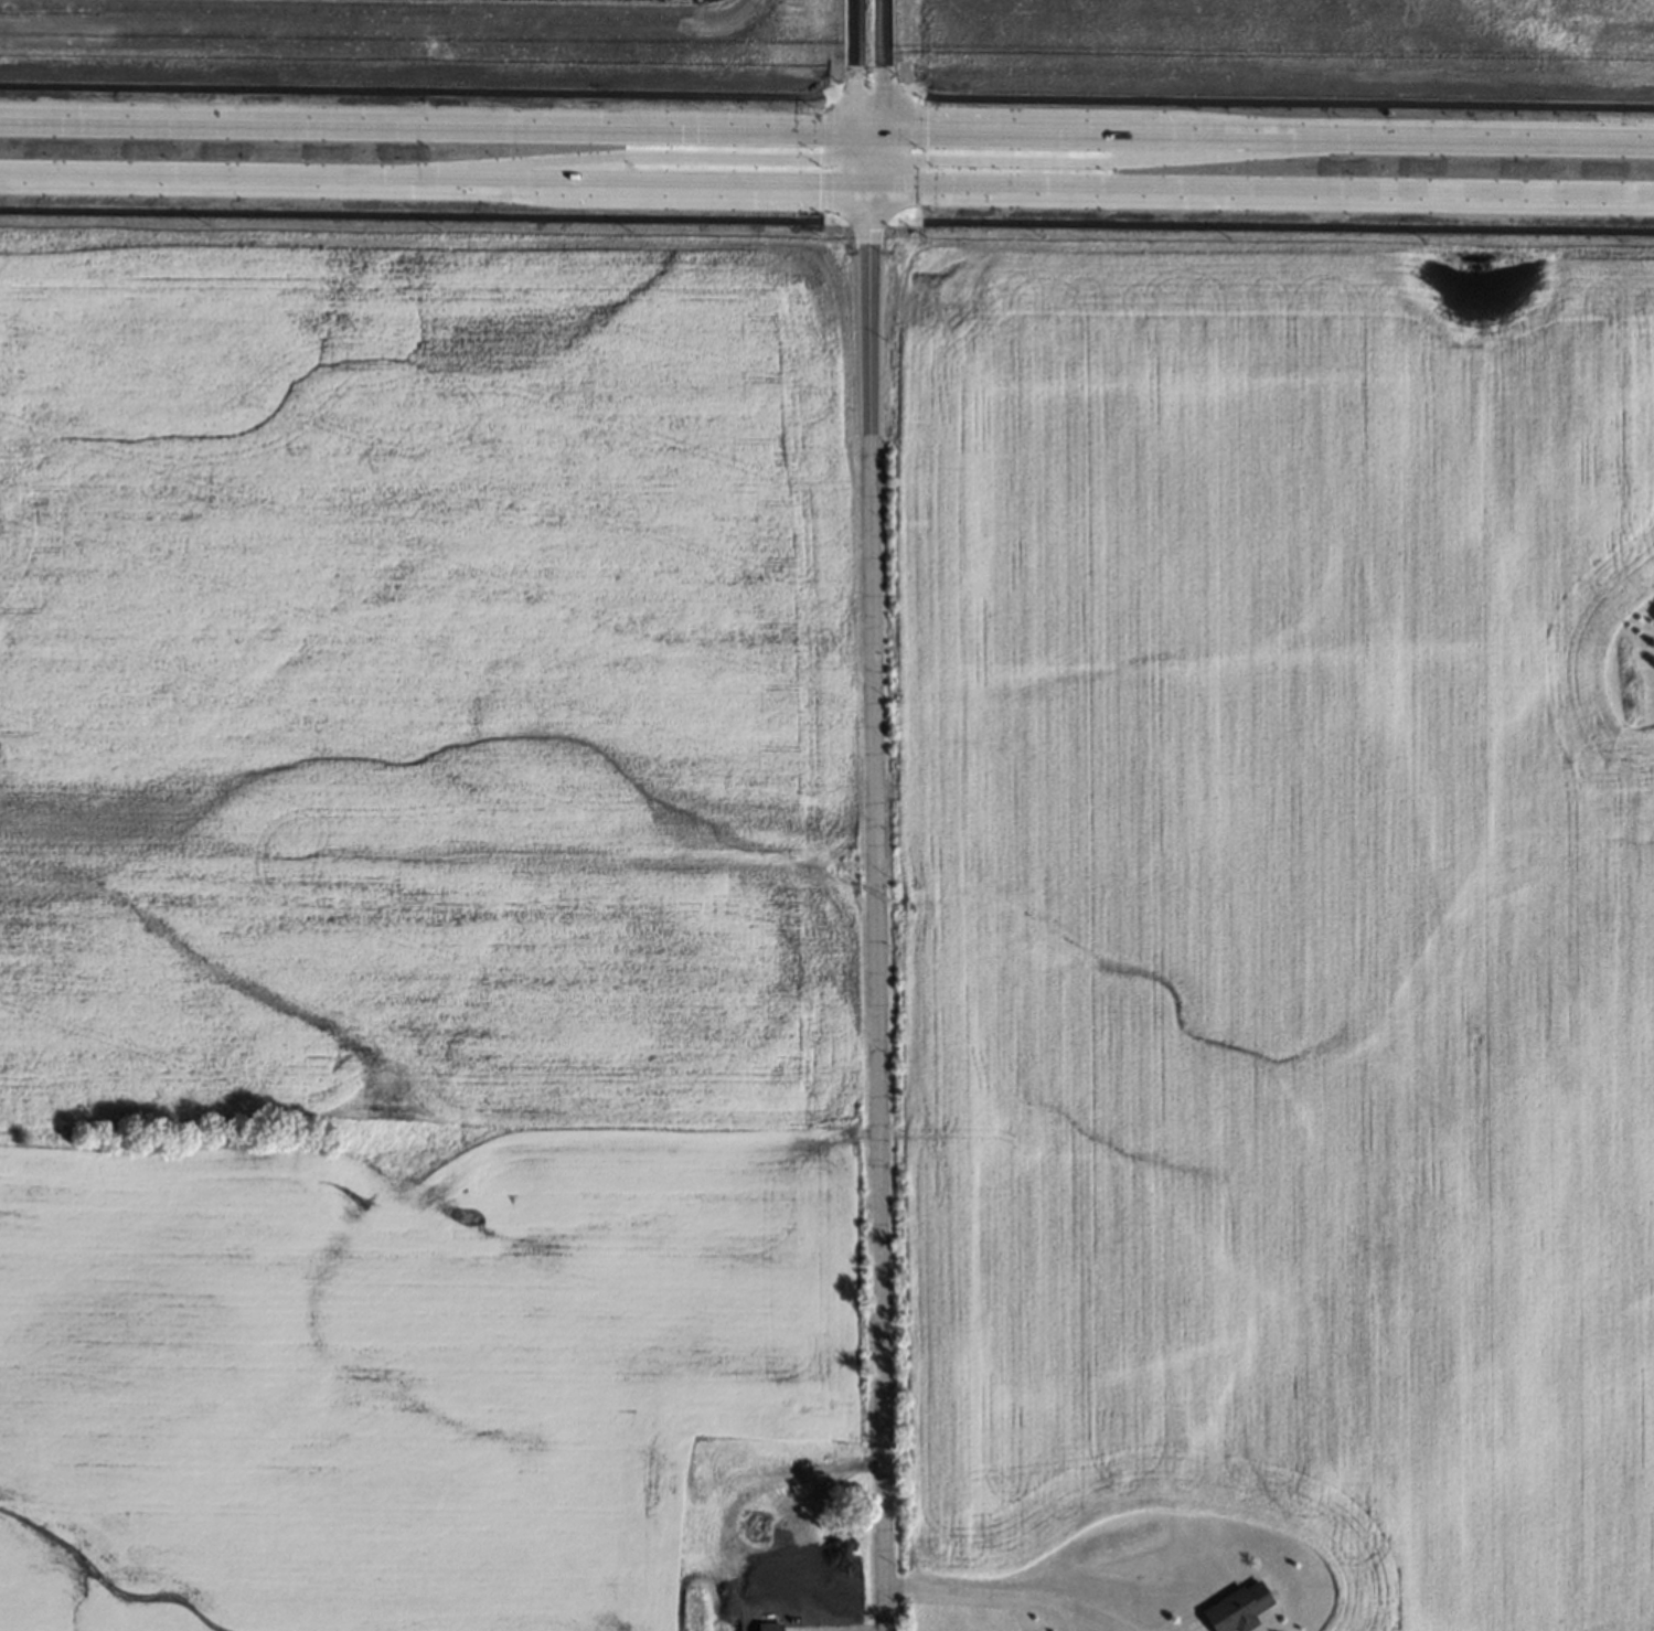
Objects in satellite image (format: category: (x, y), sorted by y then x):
road: (855, 64)
road: (881, 64)
traffic signals: (855, 79)
road: (869, 86)
road: (419, 90)
road: (1277, 100)
road: (428, 124)
road: (868, 129)
traffic signals: (926, 129)
road: (1268, 132)
road: (855, 140)
road: (869, 142)
road: (881, 149)
road: (918, 151)
road: (826, 153)
road: (629, 154)
traffic signals: (819, 157)
traffic signals: (926, 160)
road: (1112, 162)
road: (855, 170)
road: (866, 177)
road: (879, 179)
road: (427, 183)
traffic signals: (818, 189)
road: (867, 189)
road: (1267, 194)
road: (861, 204)
road: (873, 205)
road: (420, 214)
road: (917, 214)
road: (826, 216)
road: (865, 221)
road: (1270, 225)
traffic signals: (866, 228)
crop: (1287, 917)
road: (873, 926)
building: (772, 1531)
road: (997, 1593)
building: (1234, 1602)

